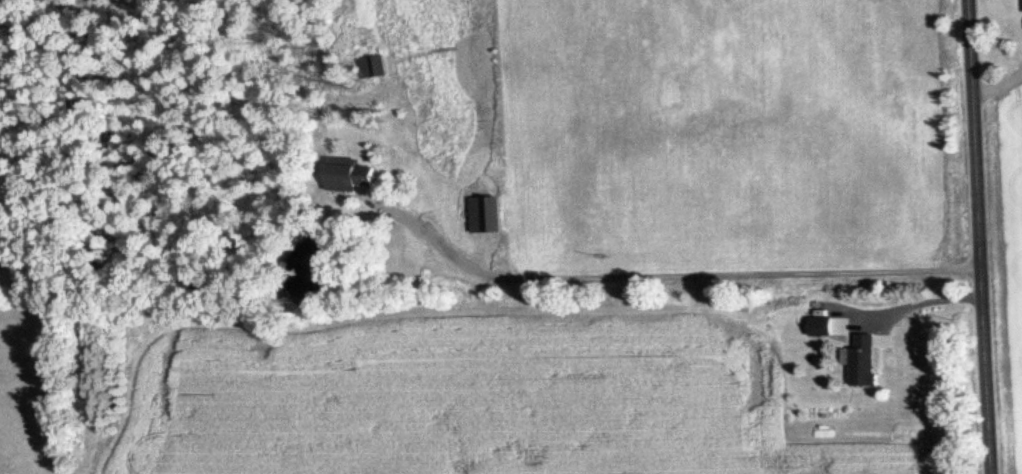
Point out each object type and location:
building: (1020, 5)
building: (367, 66)
road: (999, 91)
building: (341, 175)
building: (482, 215)
road: (978, 236)
road: (672, 281)
road: (922, 303)
building: (814, 327)
building: (857, 362)

